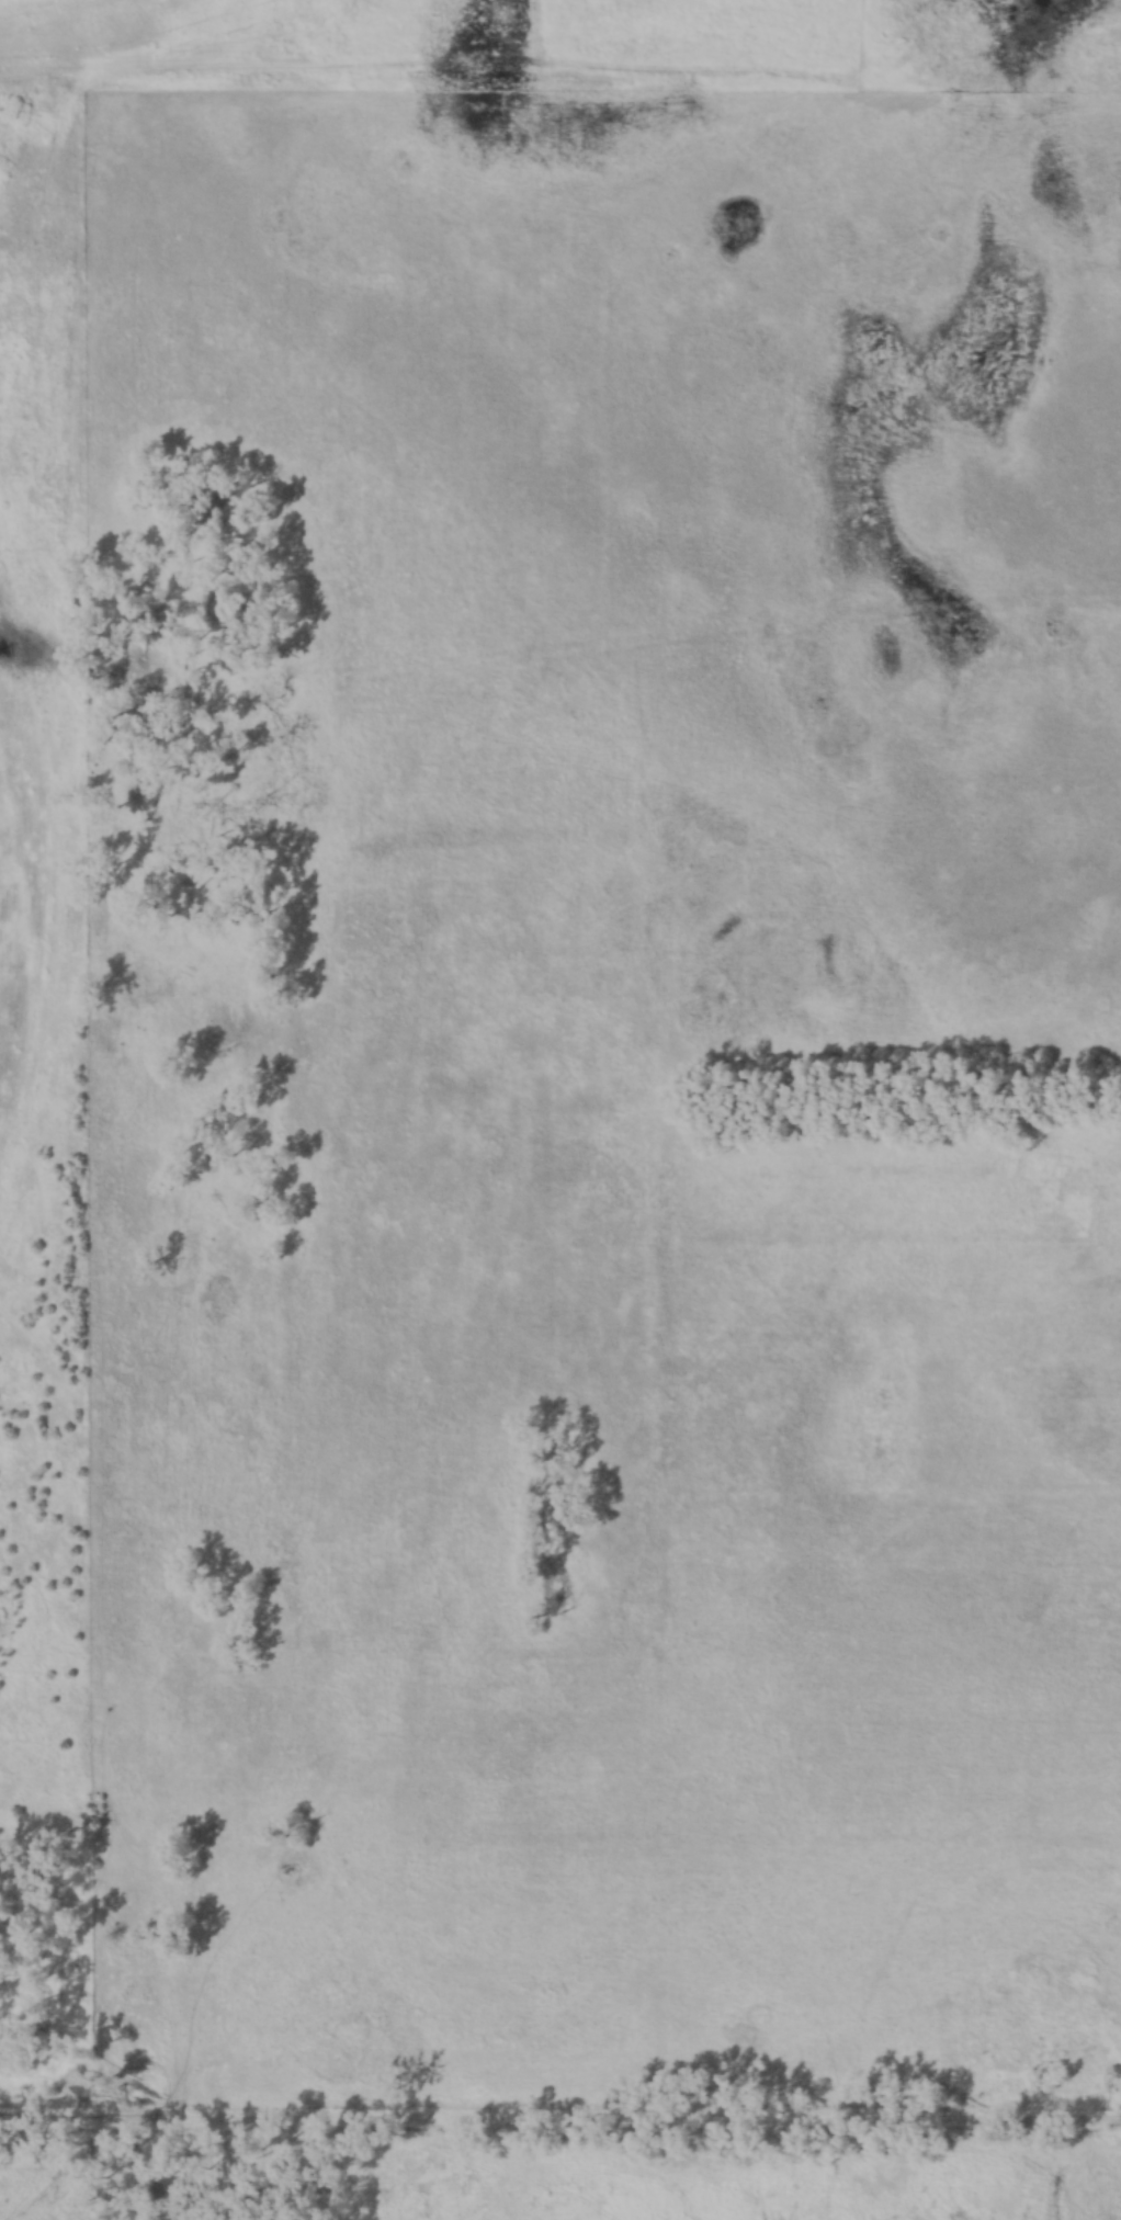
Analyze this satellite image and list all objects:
road: (559, 2121)

